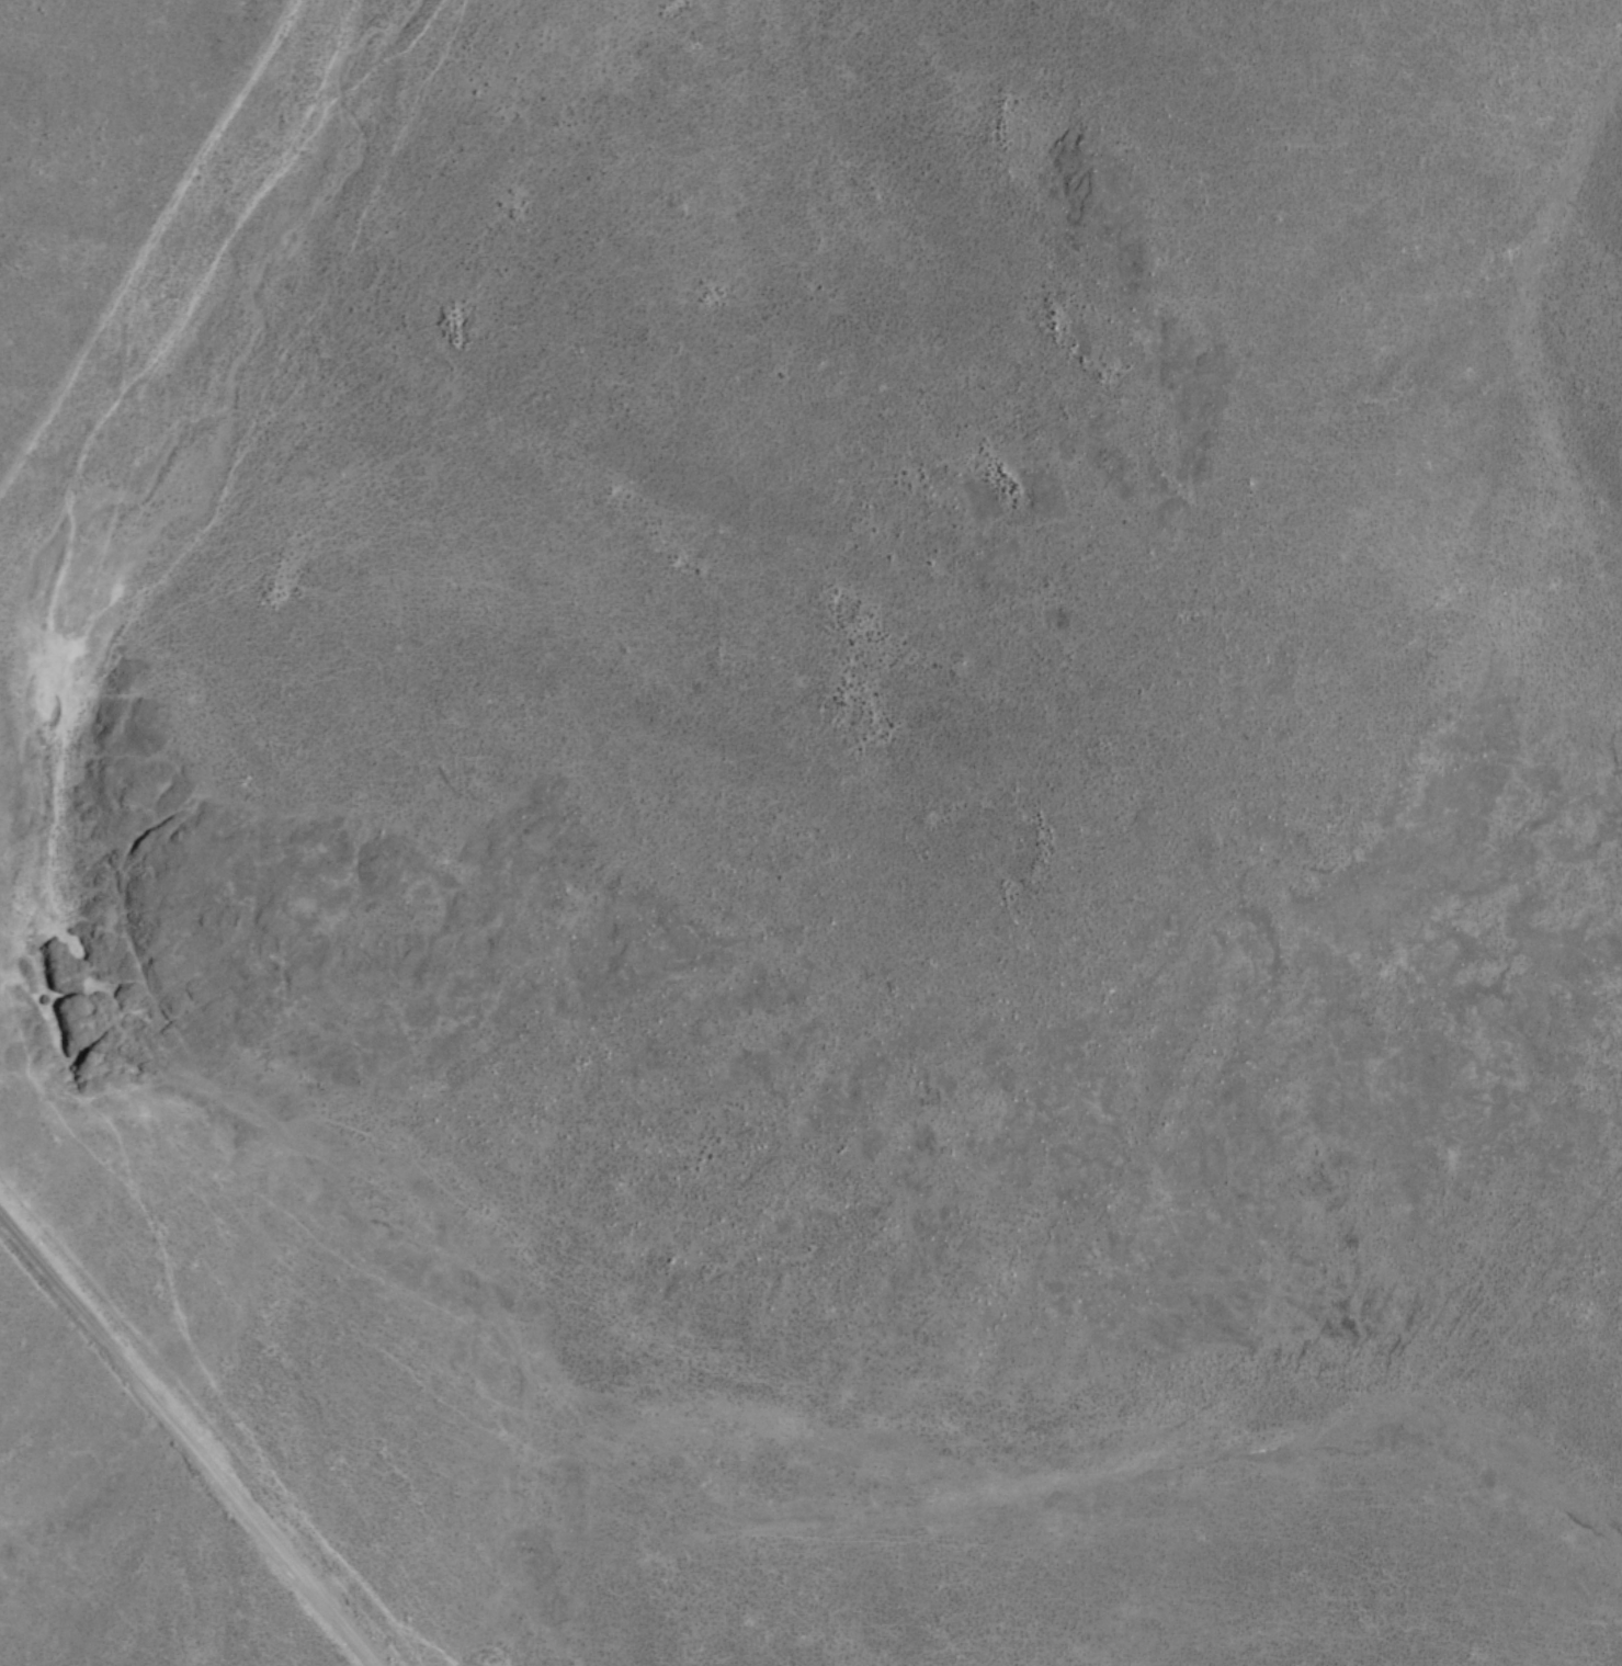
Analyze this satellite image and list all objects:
road: (189, 1442)

